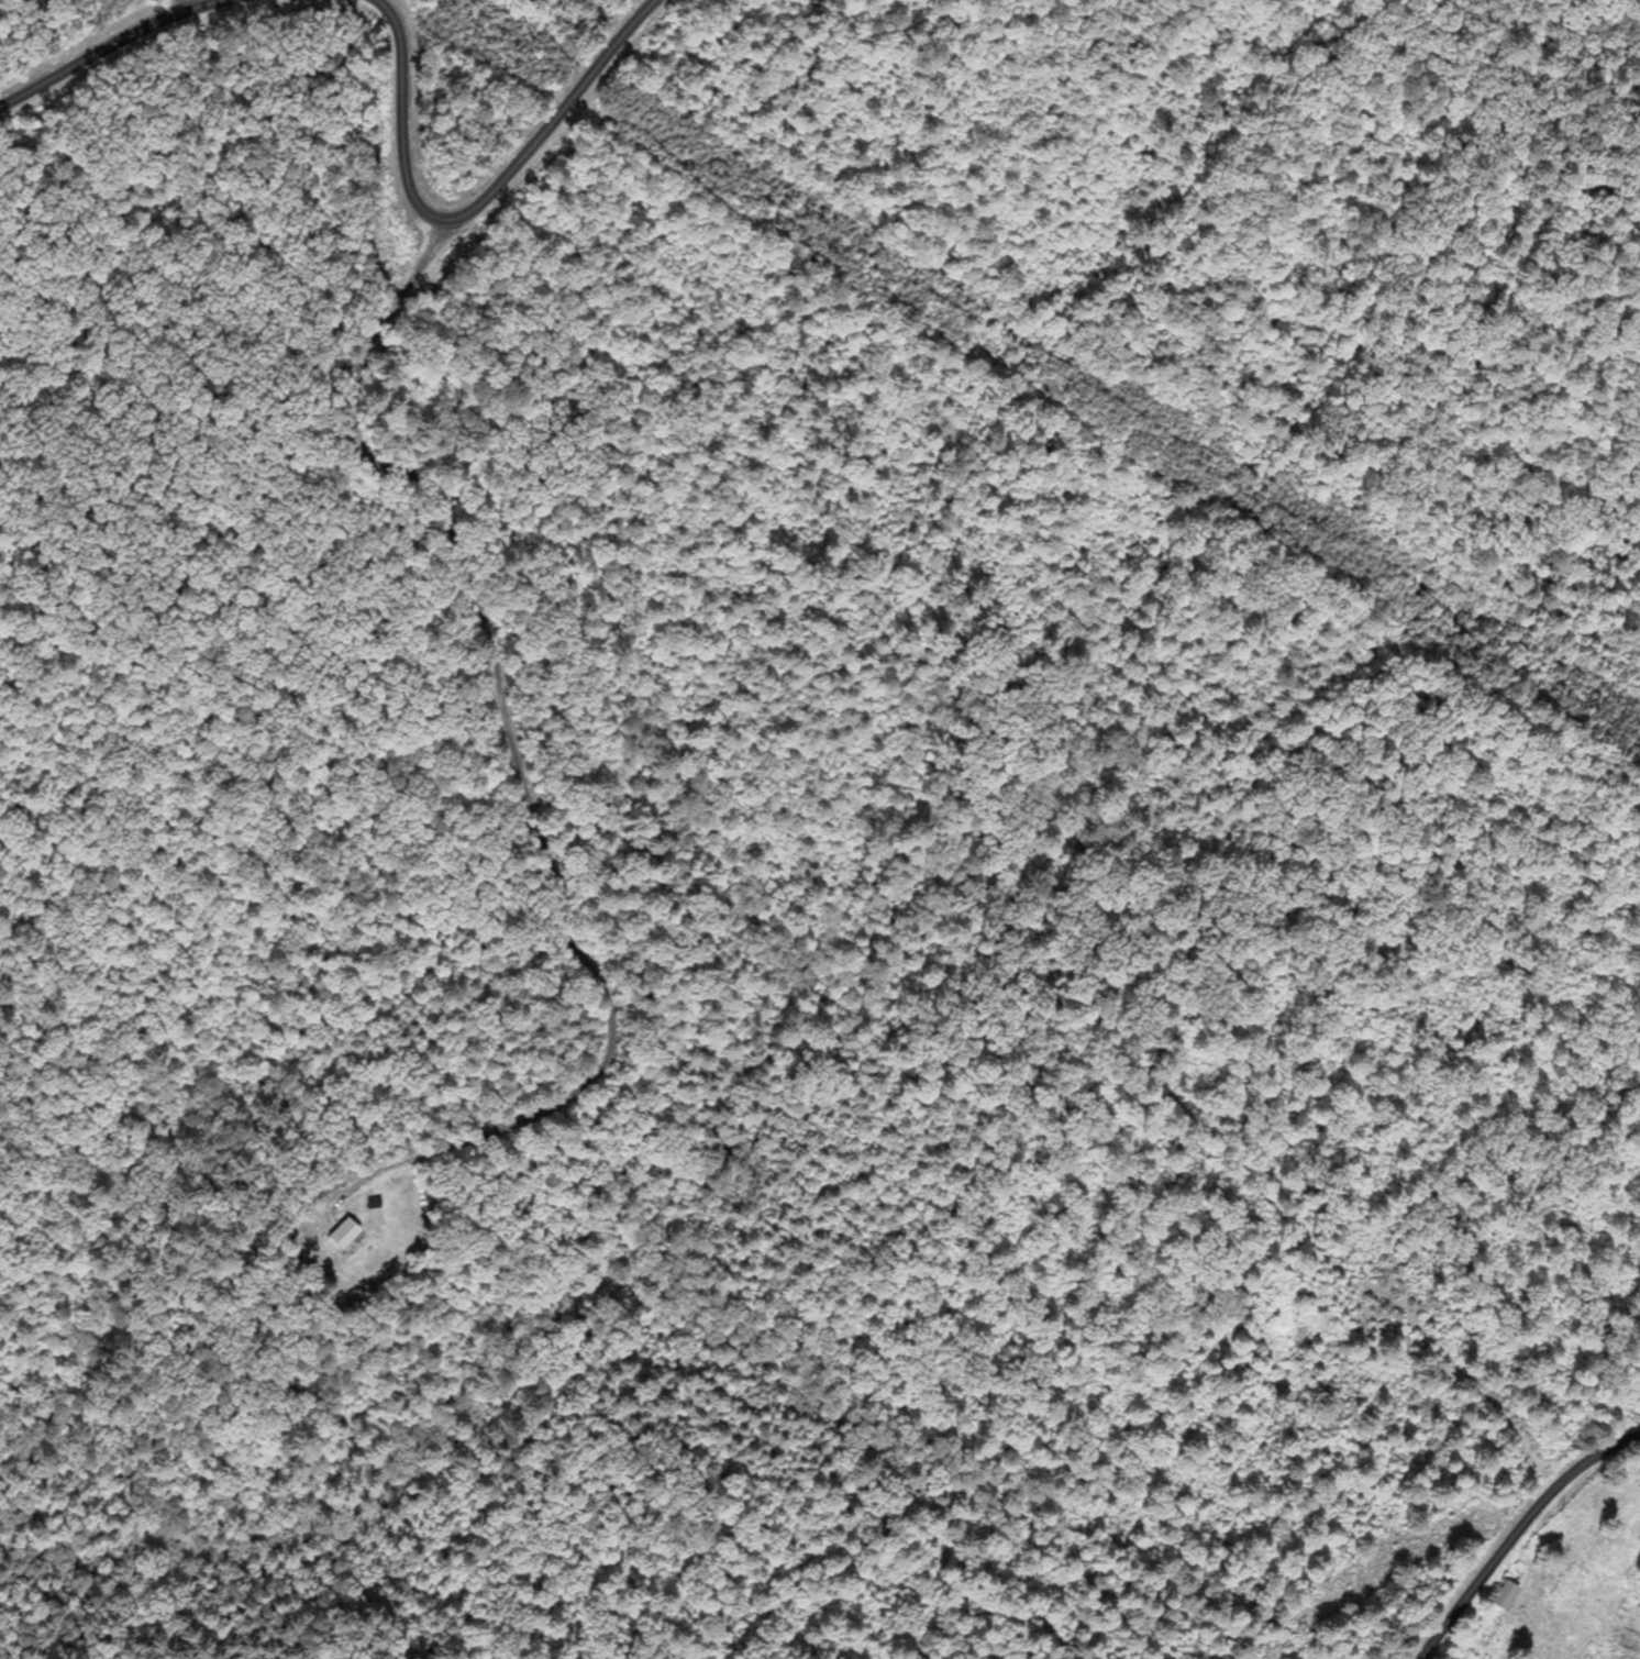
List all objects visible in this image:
road: (97, 41)
road: (467, 190)
road: (508, 745)
building: (345, 1234)
road: (1509, 1524)
building: (1508, 1595)

